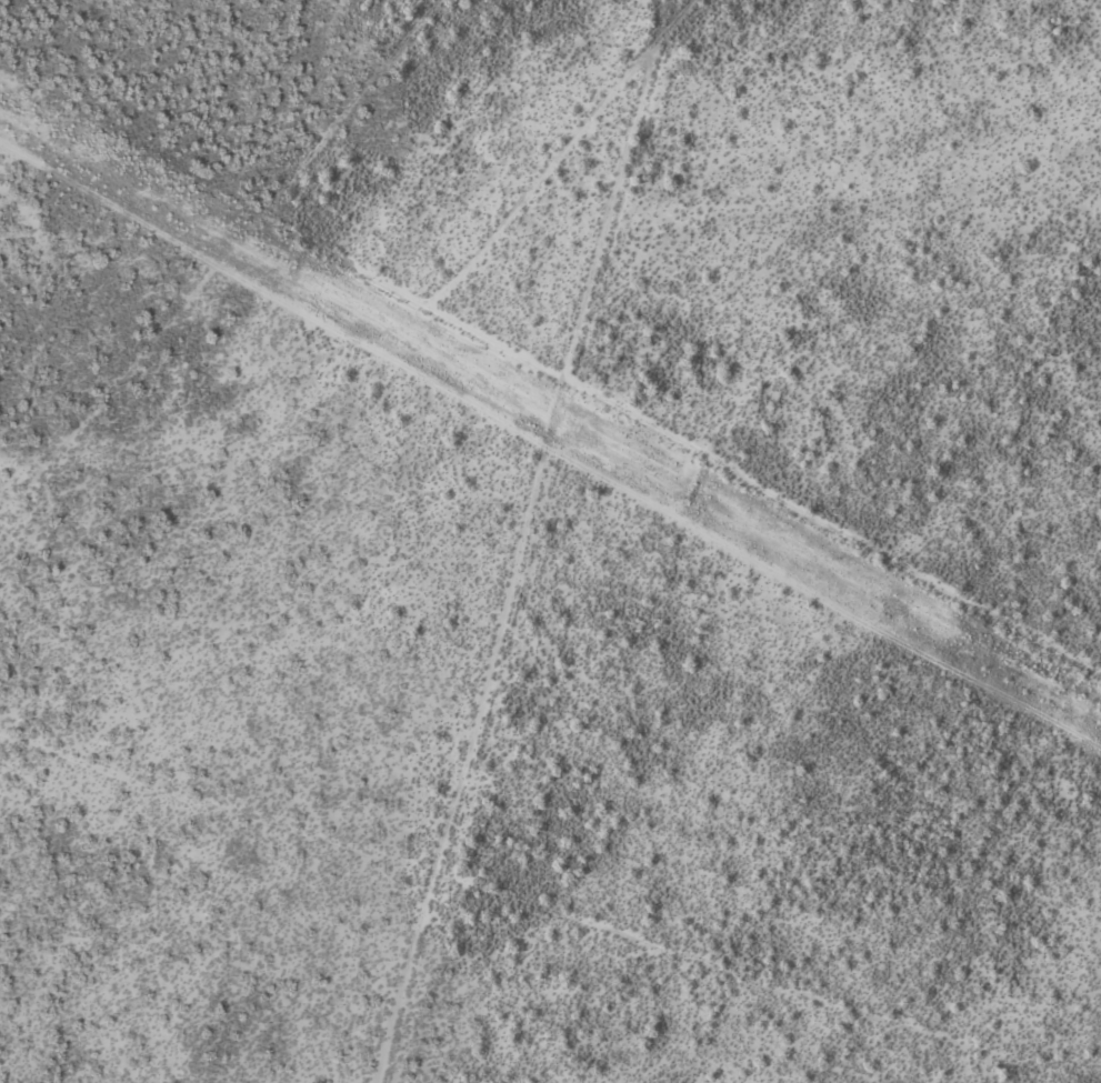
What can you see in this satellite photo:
road: (402, 347)

